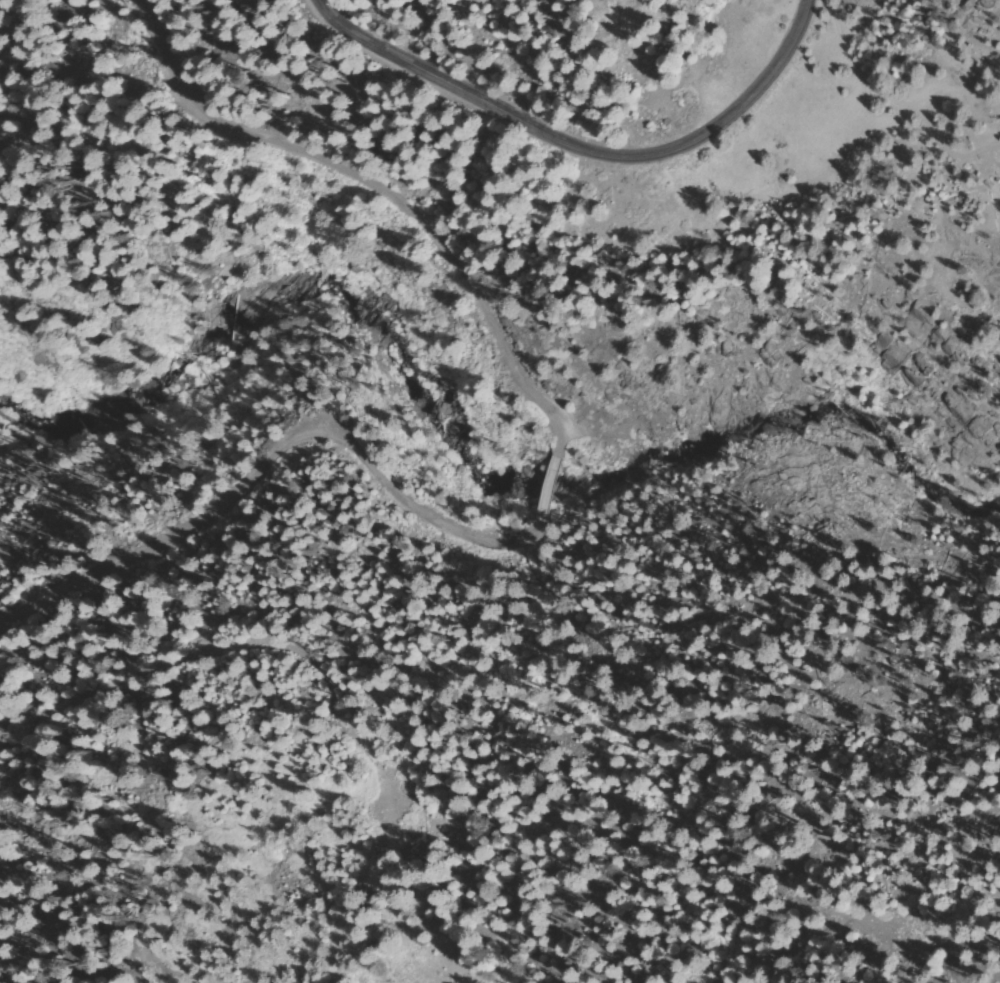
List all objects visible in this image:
road: (576, 152)
road: (373, 189)
road: (303, 443)
road: (279, 653)

